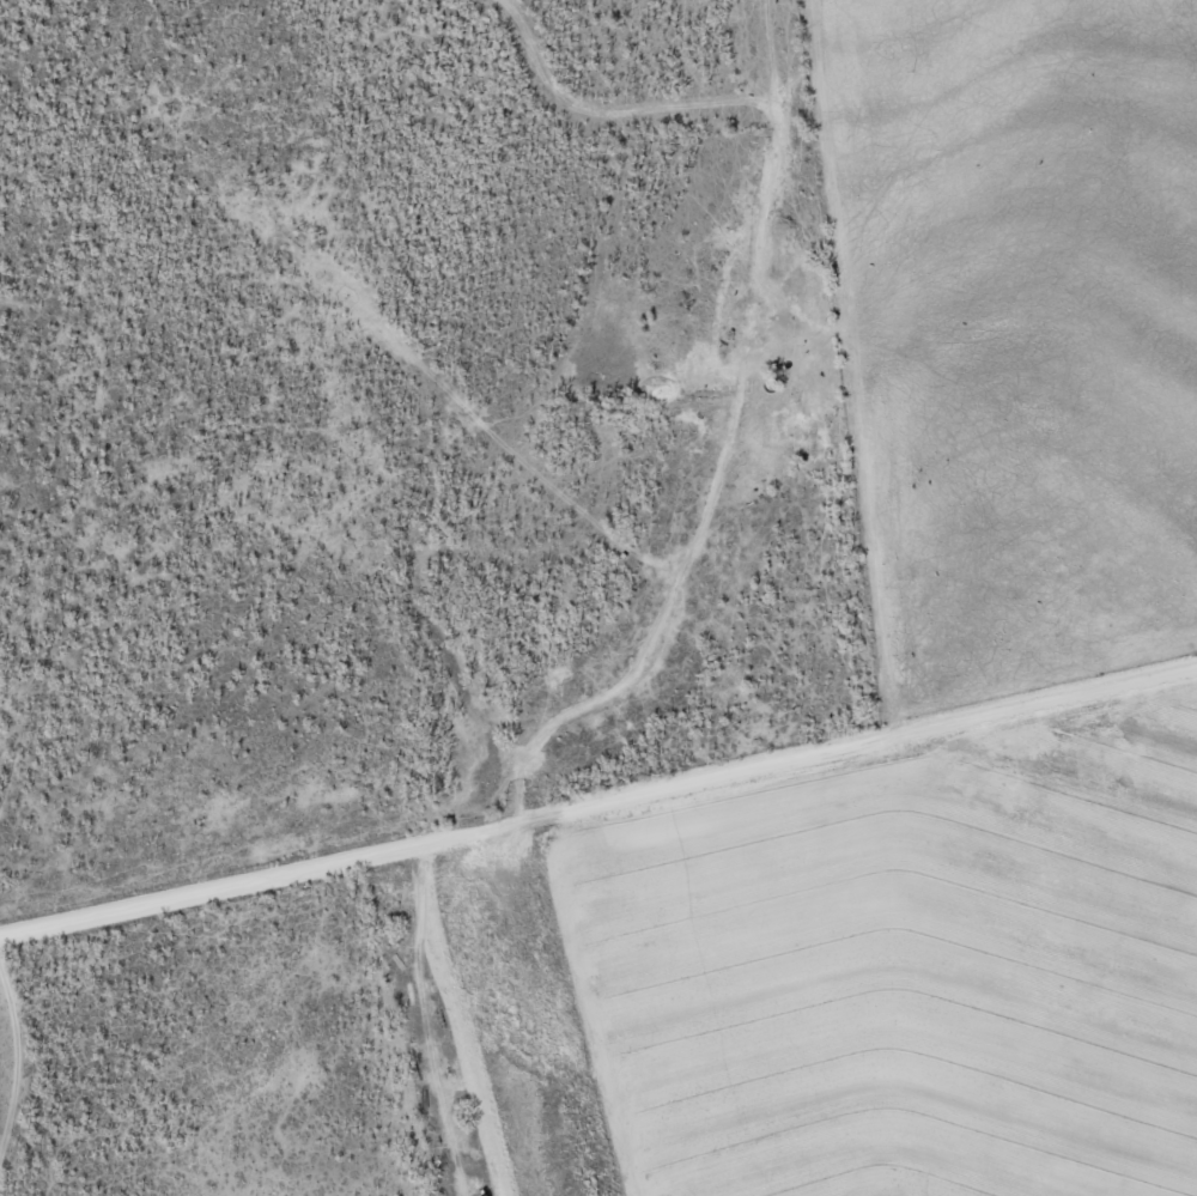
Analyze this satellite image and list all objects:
road: (1190, 668)
road: (591, 802)

